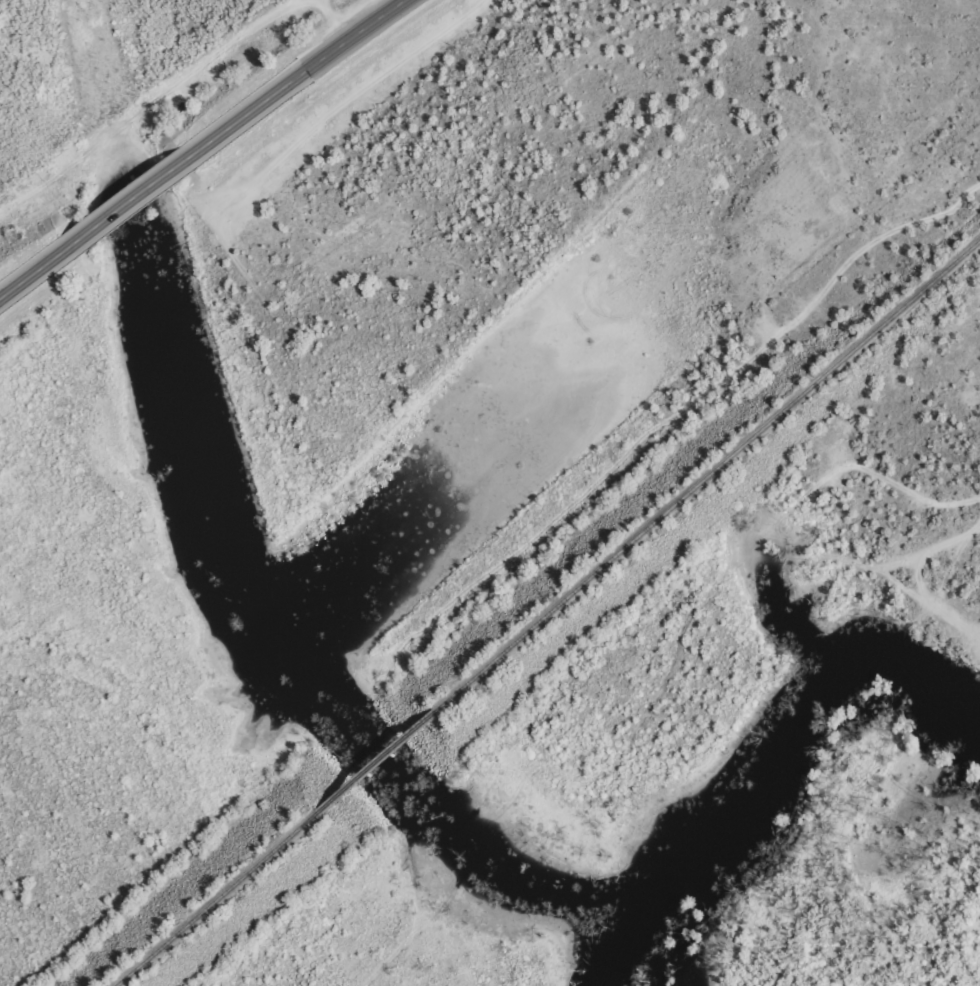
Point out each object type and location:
road: (312, 86)
road: (126, 219)
road: (31, 288)
railway: (708, 472)
railway: (377, 762)
river: (781, 774)
railway: (216, 899)

